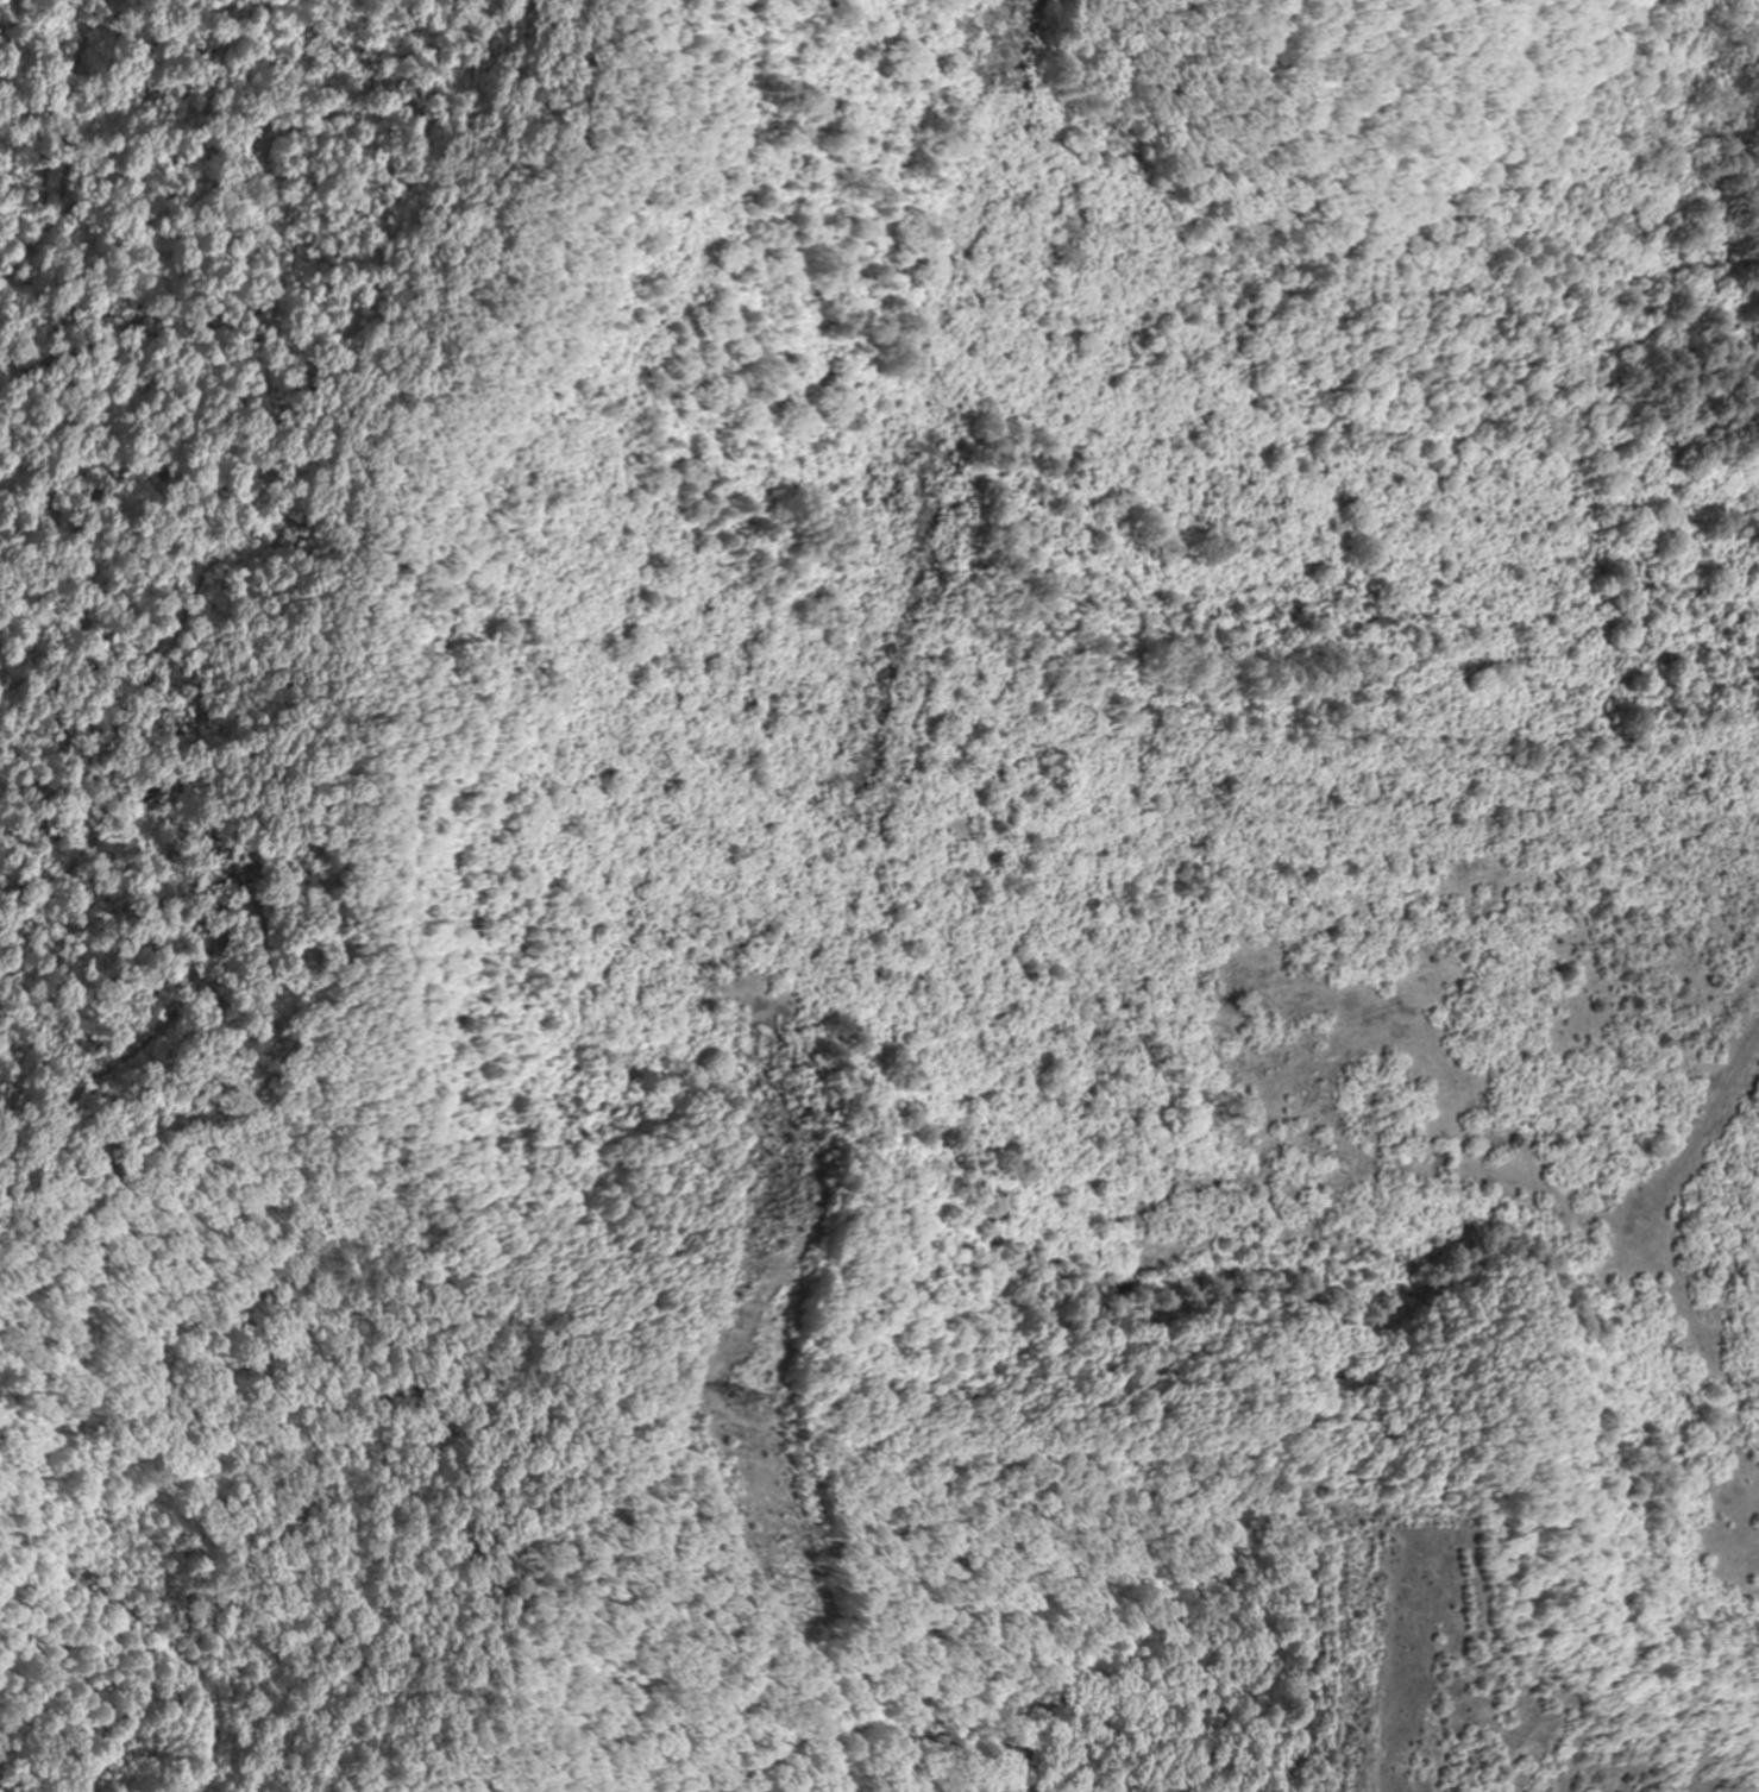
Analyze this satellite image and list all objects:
power tower: (730, 1397)

